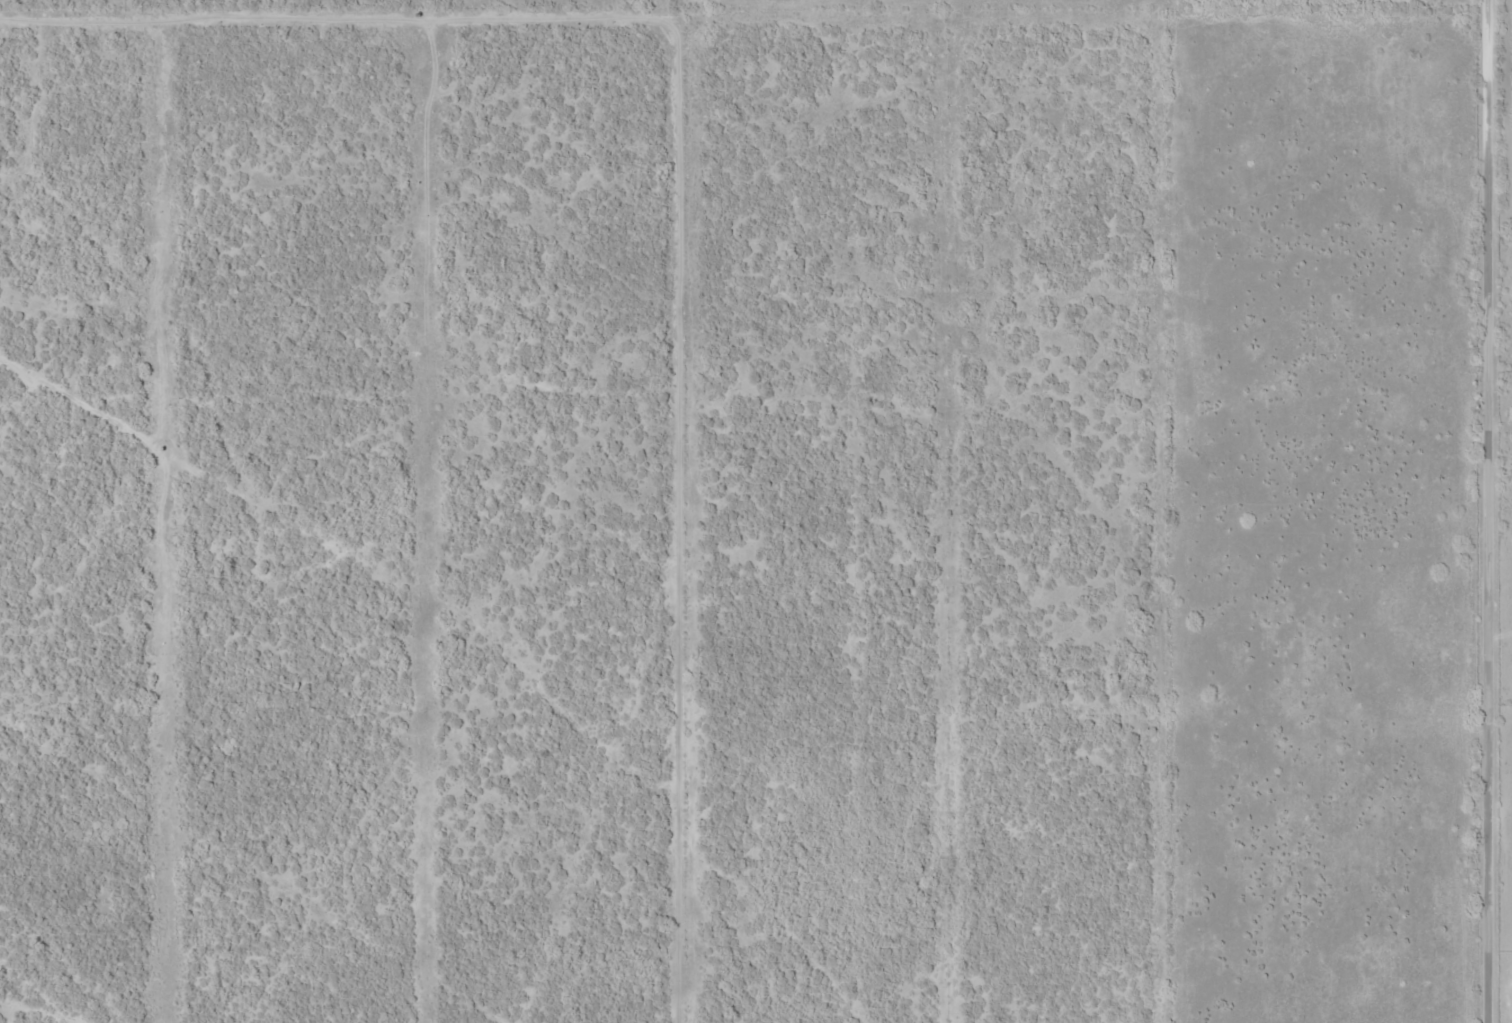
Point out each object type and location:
road: (1466, 511)

